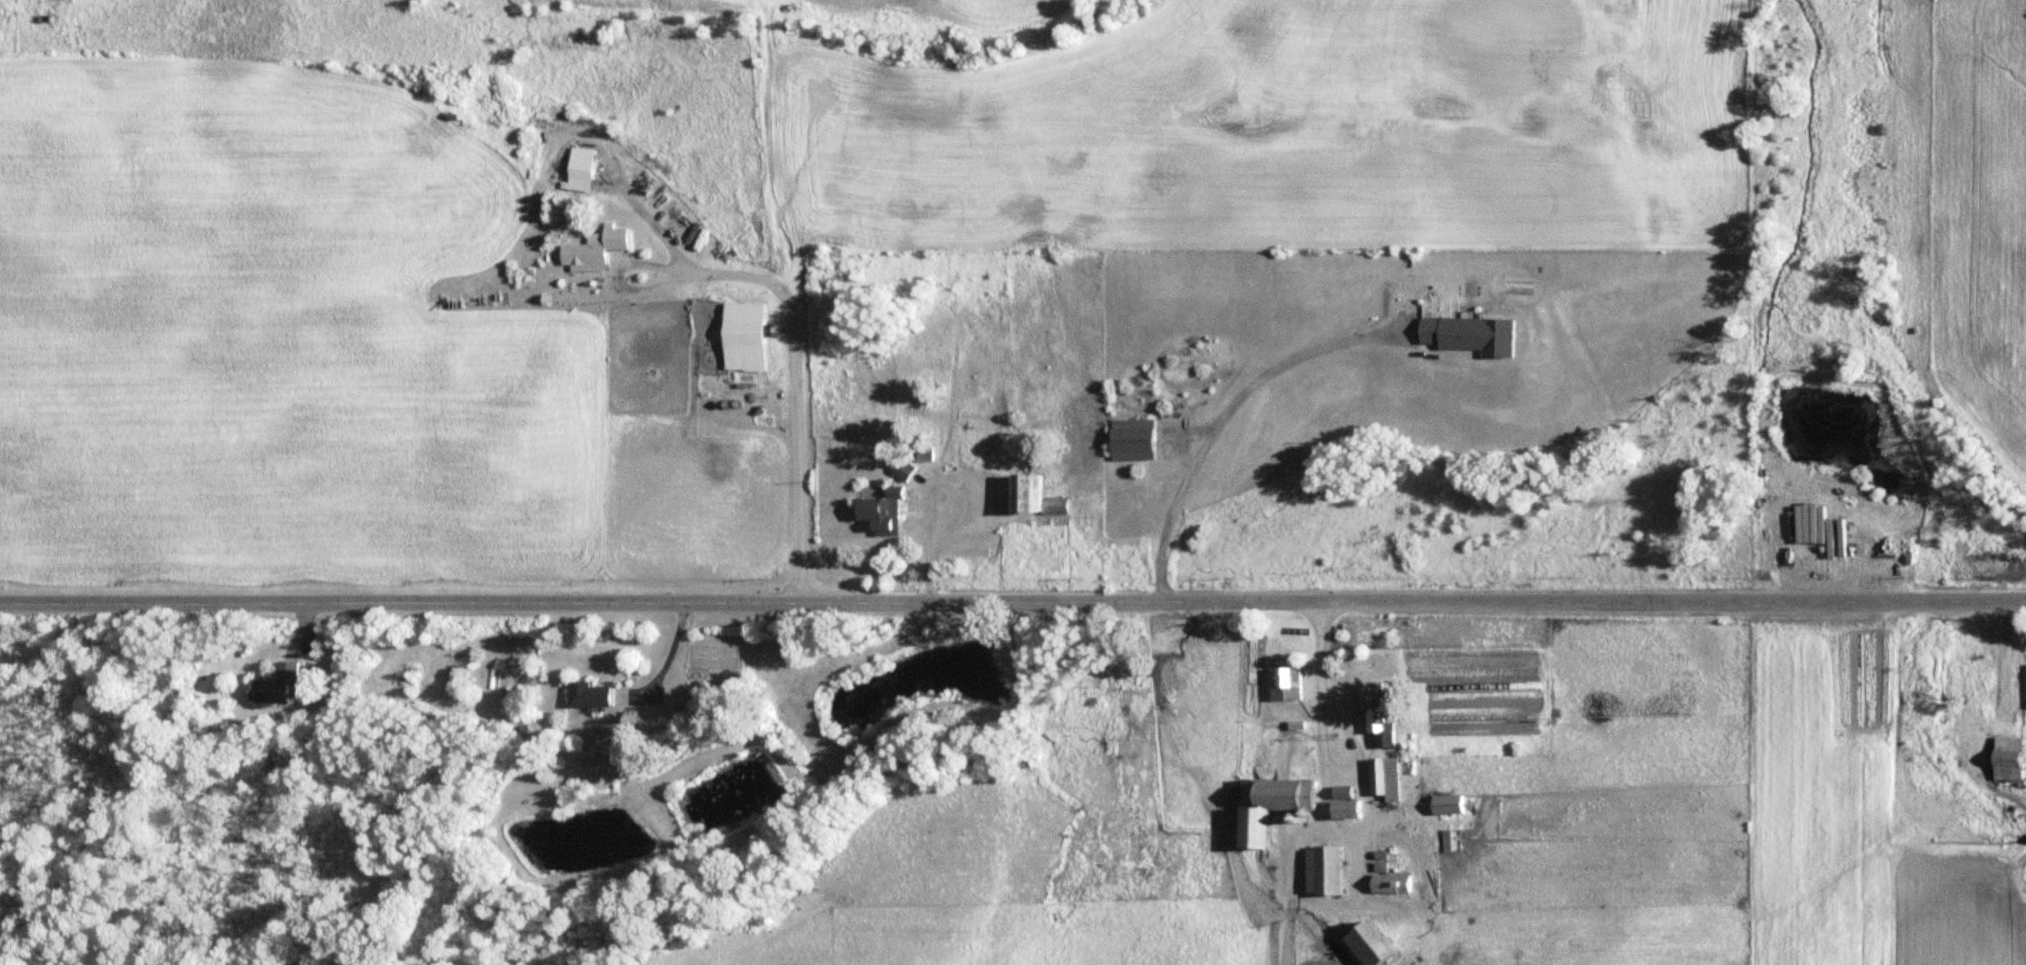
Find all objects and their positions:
building: (577, 169)
building: (591, 247)
building: (1466, 333)
building: (741, 337)
road: (795, 359)
road: (1217, 419)
building: (1127, 439)
building: (1031, 496)
building: (876, 512)
road: (1012, 607)
building: (1286, 678)
building: (283, 685)
building: (587, 694)
building: (1376, 716)
building: (2004, 758)
building: (1382, 778)
building: (1265, 804)
building: (1442, 804)
building: (1341, 808)
building: (1318, 869)
building: (1387, 881)
building: (1362, 943)

